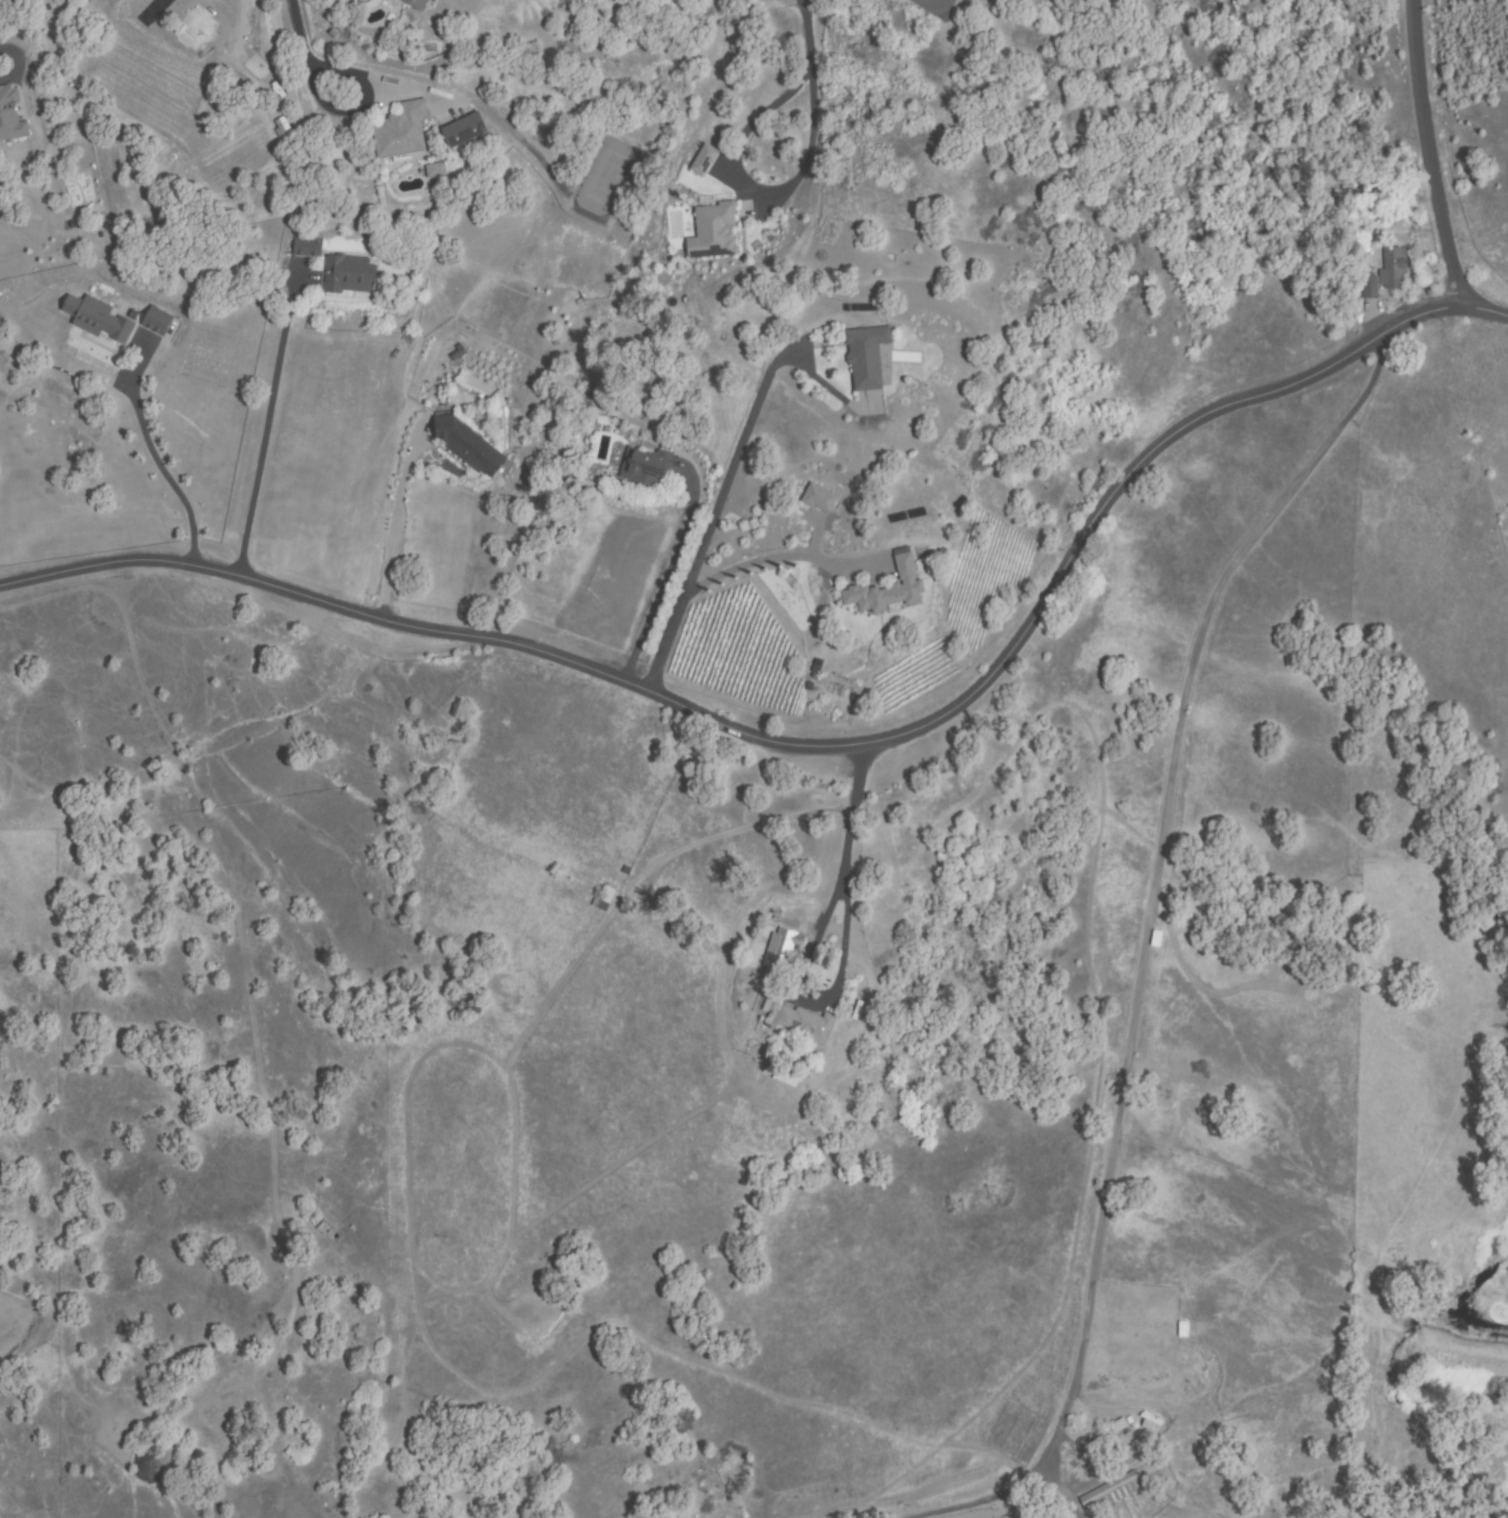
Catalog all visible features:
building: (417, 3)
building: (11, 115)
airport: (1477, 122)
building: (462, 132)
building: (401, 133)
road: (1428, 159)
building: (704, 161)
building: (434, 171)
building: (712, 232)
building: (306, 249)
building: (1393, 268)
building: (348, 275)
building: (1368, 289)
building: (98, 319)
building: (158, 321)
building: (866, 357)
building: (467, 447)
building: (645, 468)
park: (1474, 476)
building: (819, 499)
road: (709, 529)
building: (887, 591)
road: (825, 752)
building: (604, 899)
building: (781, 951)
road: (1144, 951)
building: (802, 1022)
building: (1180, 1328)
building: (1150, 1420)
building: (1115, 1424)
building: (1111, 1493)
building: (1045, 1514)

